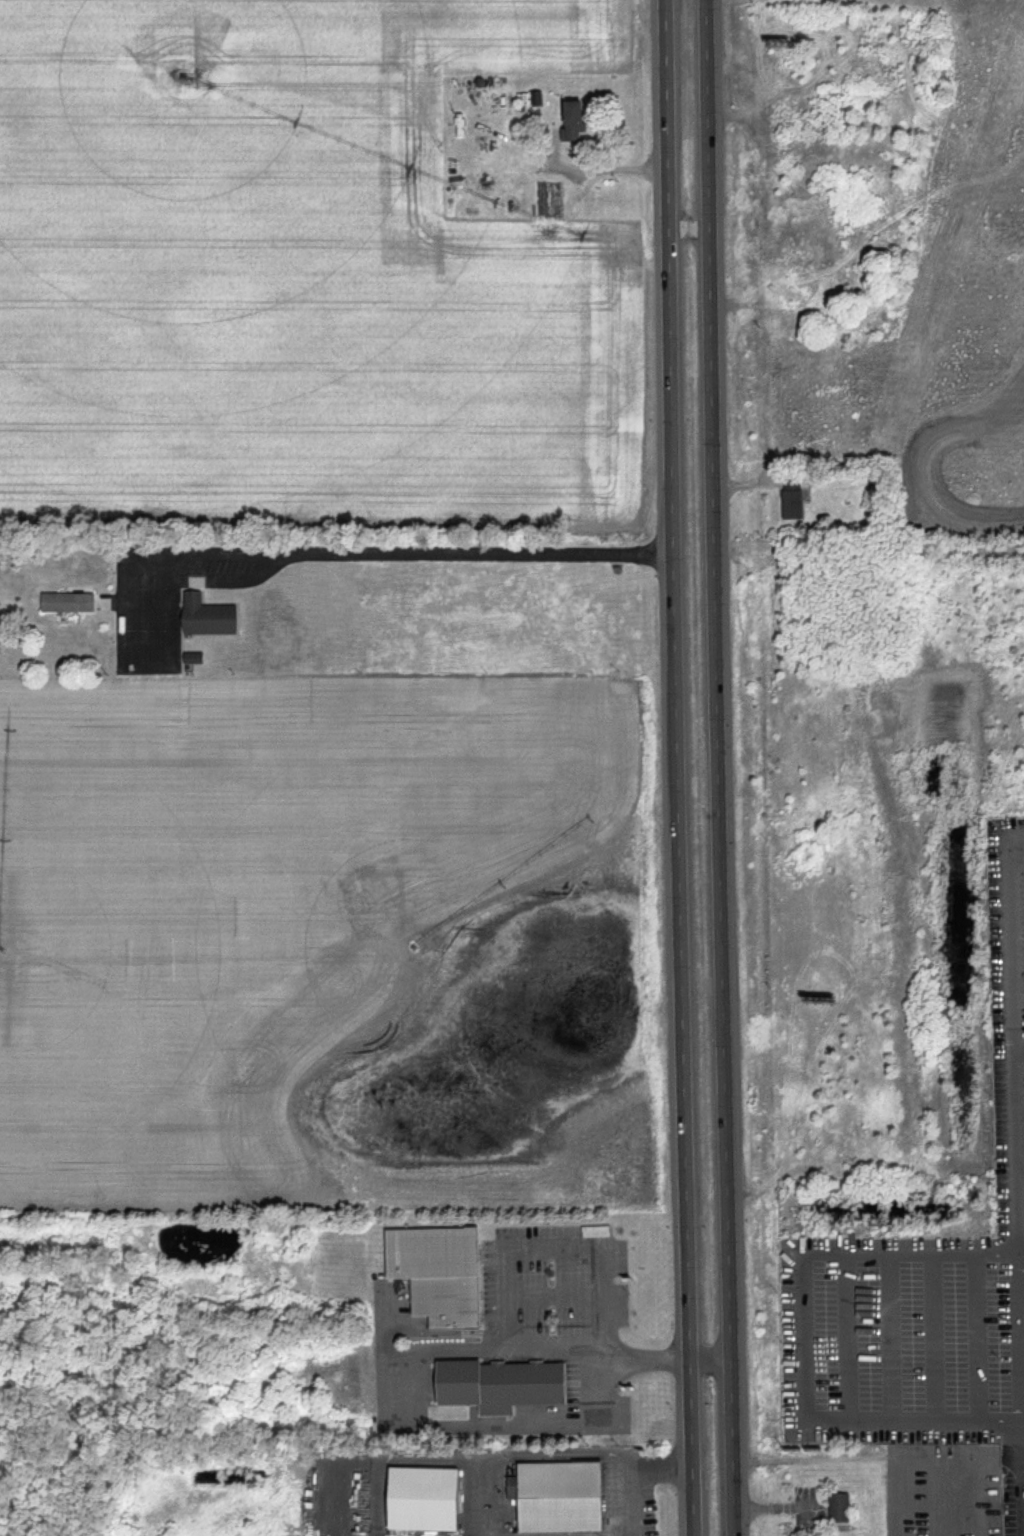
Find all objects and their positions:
building: (570, 120)
road: (594, 173)
road: (689, 227)
crop: (298, 285)
building: (796, 286)
road: (742, 304)
road: (738, 484)
building: (792, 499)
road: (374, 552)
building: (66, 603)
building: (206, 616)
building: (191, 658)
road: (678, 768)
road: (718, 768)
crop: (324, 947)
road: (1012, 1036)
road: (1018, 1051)
road: (1020, 1252)
building: (440, 1272)
parking lot: (927, 1282)
road: (554, 1296)
road: (803, 1335)
road: (976, 1335)
road: (1016, 1335)
road: (844, 1336)
road: (889, 1336)
road: (933, 1336)
road: (549, 1353)
road: (390, 1357)
road: (710, 1358)
building: (503, 1385)
road: (1016, 1435)
road: (1020, 1451)
road: (520, 1455)
road: (391, 1457)
road: (961, 1458)
road: (628, 1470)
road: (1016, 1494)
building: (565, 1496)
building: (427, 1497)
building: (842, 1508)
road: (607, 1535)

